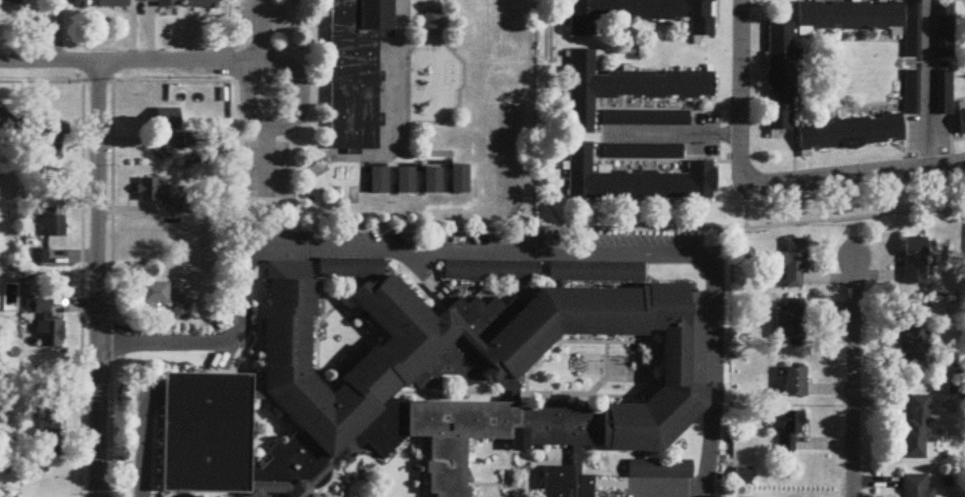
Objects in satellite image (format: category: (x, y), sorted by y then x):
building: (10, 2)
building: (77, 3)
building: (165, 3)
building: (114, 4)
building: (205, 5)
building: (847, 12)
parking lot: (260, 16)
building: (430, 18)
building: (579, 20)
road: (265, 26)
building: (908, 26)
building: (941, 27)
road: (124, 61)
building: (352, 68)
road: (309, 69)
building: (777, 69)
building: (619, 84)
road: (926, 84)
building: (909, 90)
building: (942, 90)
road: (740, 96)
building: (646, 114)
road: (296, 117)
building: (960, 117)
building: (10, 120)
building: (168, 121)
building: (849, 130)
road: (673, 131)
parking lot: (929, 134)
road: (312, 141)
building: (51, 143)
building: (642, 148)
road: (271, 156)
road: (348, 162)
parking lot: (265, 166)
building: (432, 174)
building: (459, 174)
building: (404, 175)
building: (376, 176)
building: (639, 176)
road: (860, 176)
building: (38, 180)
building: (149, 191)
building: (191, 206)
building: (54, 224)
parking lot: (485, 239)
road: (488, 251)
building: (38, 258)
road: (405, 259)
building: (348, 260)
building: (915, 263)
building: (489, 264)
building: (793, 264)
building: (593, 266)
road: (425, 272)
road: (414, 275)
road: (97, 279)
road: (314, 285)
building: (164, 299)
building: (37, 307)
building: (791, 322)
road: (314, 326)
building: (50, 336)
building: (916, 337)
road: (356, 343)
road: (607, 354)
building: (367, 360)
road: (652, 363)
building: (578, 364)
road: (238, 367)
road: (854, 378)
building: (674, 385)
building: (796, 385)
building: (508, 389)
road: (448, 391)
road: (511, 391)
road: (522, 391)
road: (268, 415)
building: (48, 428)
building: (200, 429)
parking garage: (200, 429)
road: (131, 430)
building: (789, 431)
building: (917, 431)
road: (140, 440)
road: (606, 455)
road: (536, 457)
building: (662, 465)
building: (287, 466)
road: (417, 467)
road: (609, 468)
road: (335, 473)
building: (566, 477)
road: (611, 481)
road: (509, 483)
road: (668, 483)
parking lot: (662, 485)
building: (917, 487)
road: (525, 488)
road: (513, 490)
road: (172, 493)
road: (181, 493)
road: (191, 493)
building: (323, 496)

